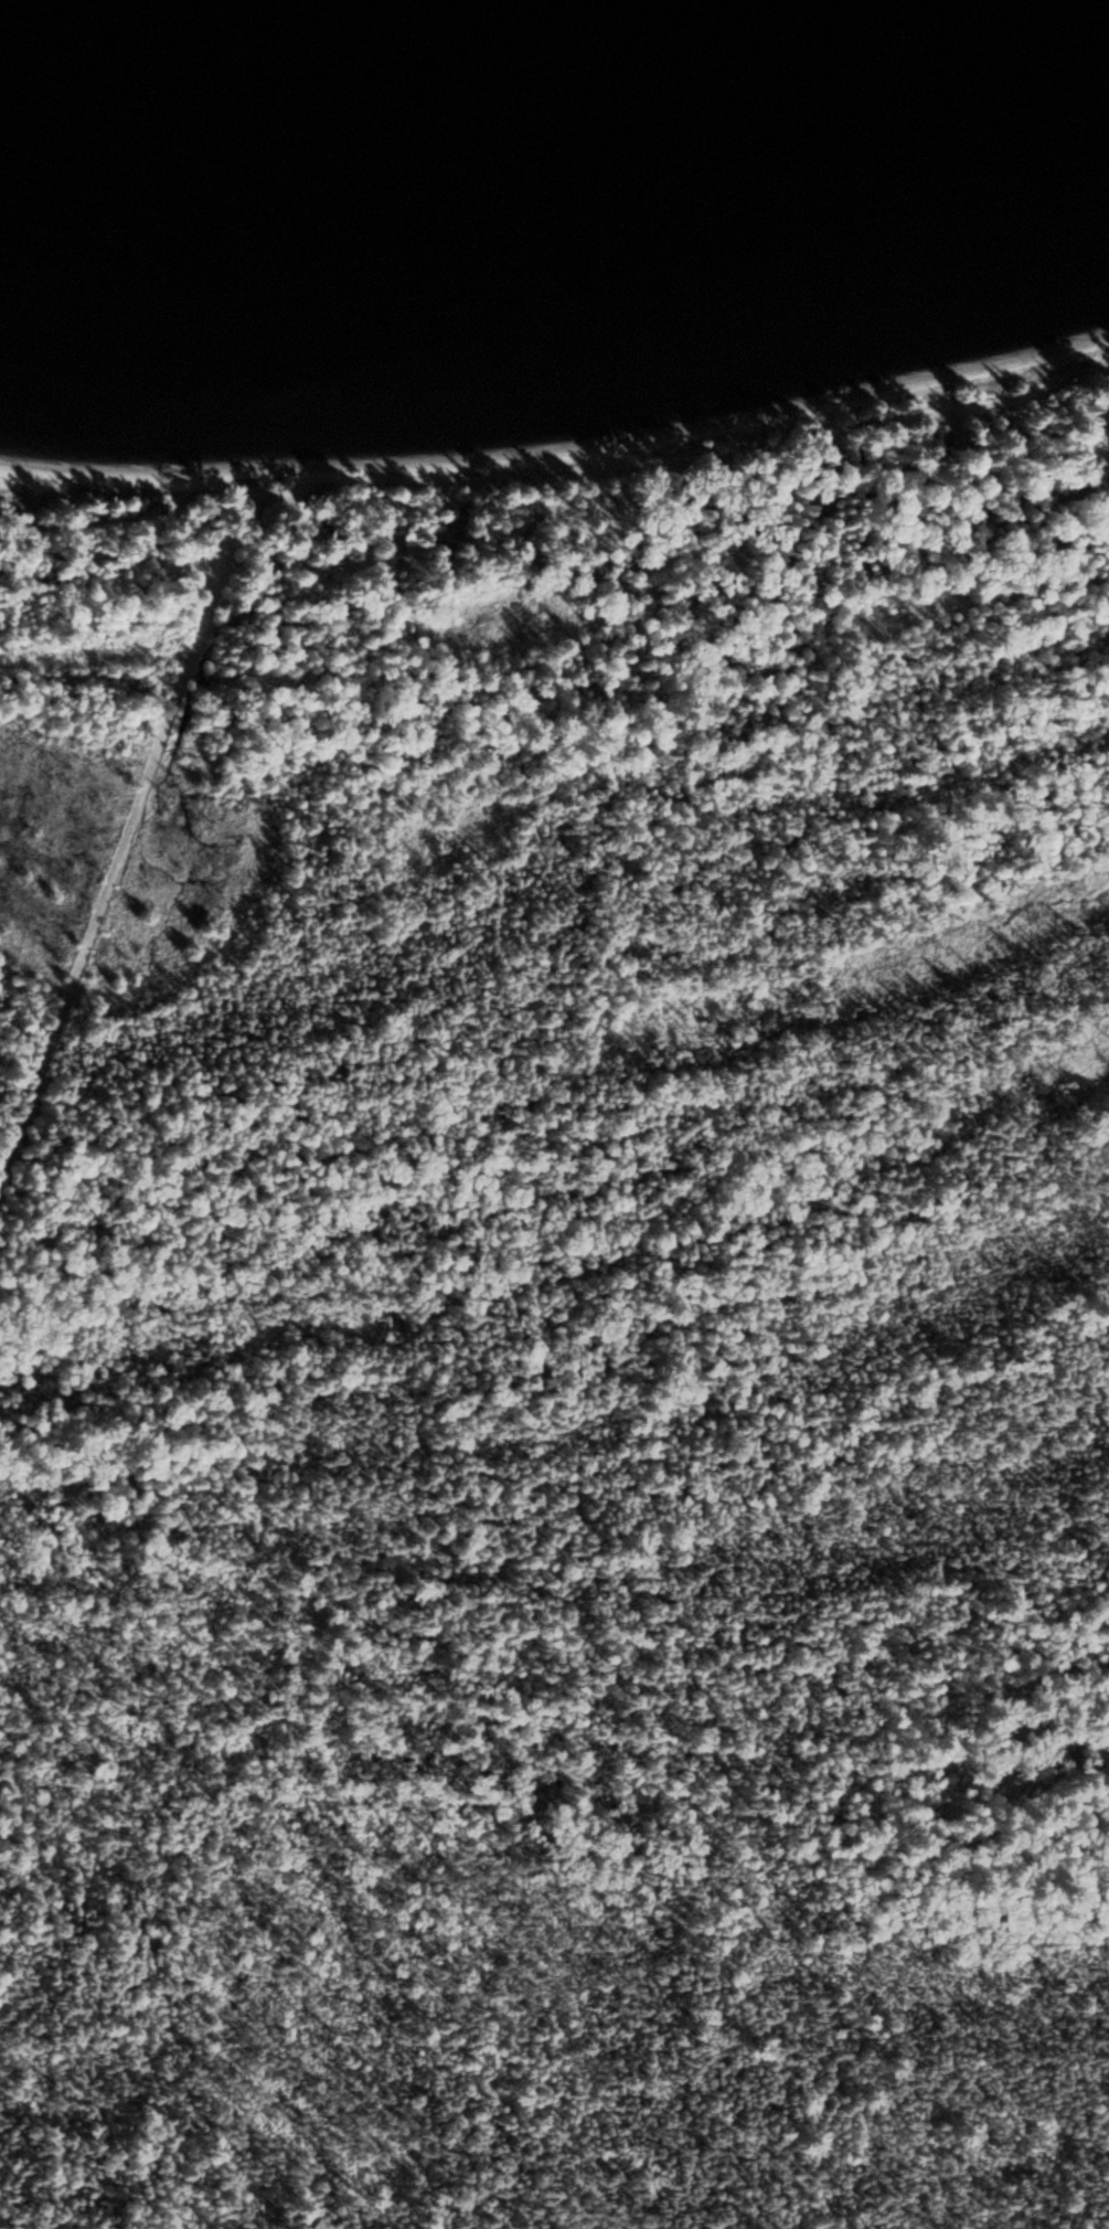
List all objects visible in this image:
road: (658, 492)
road: (105, 888)

